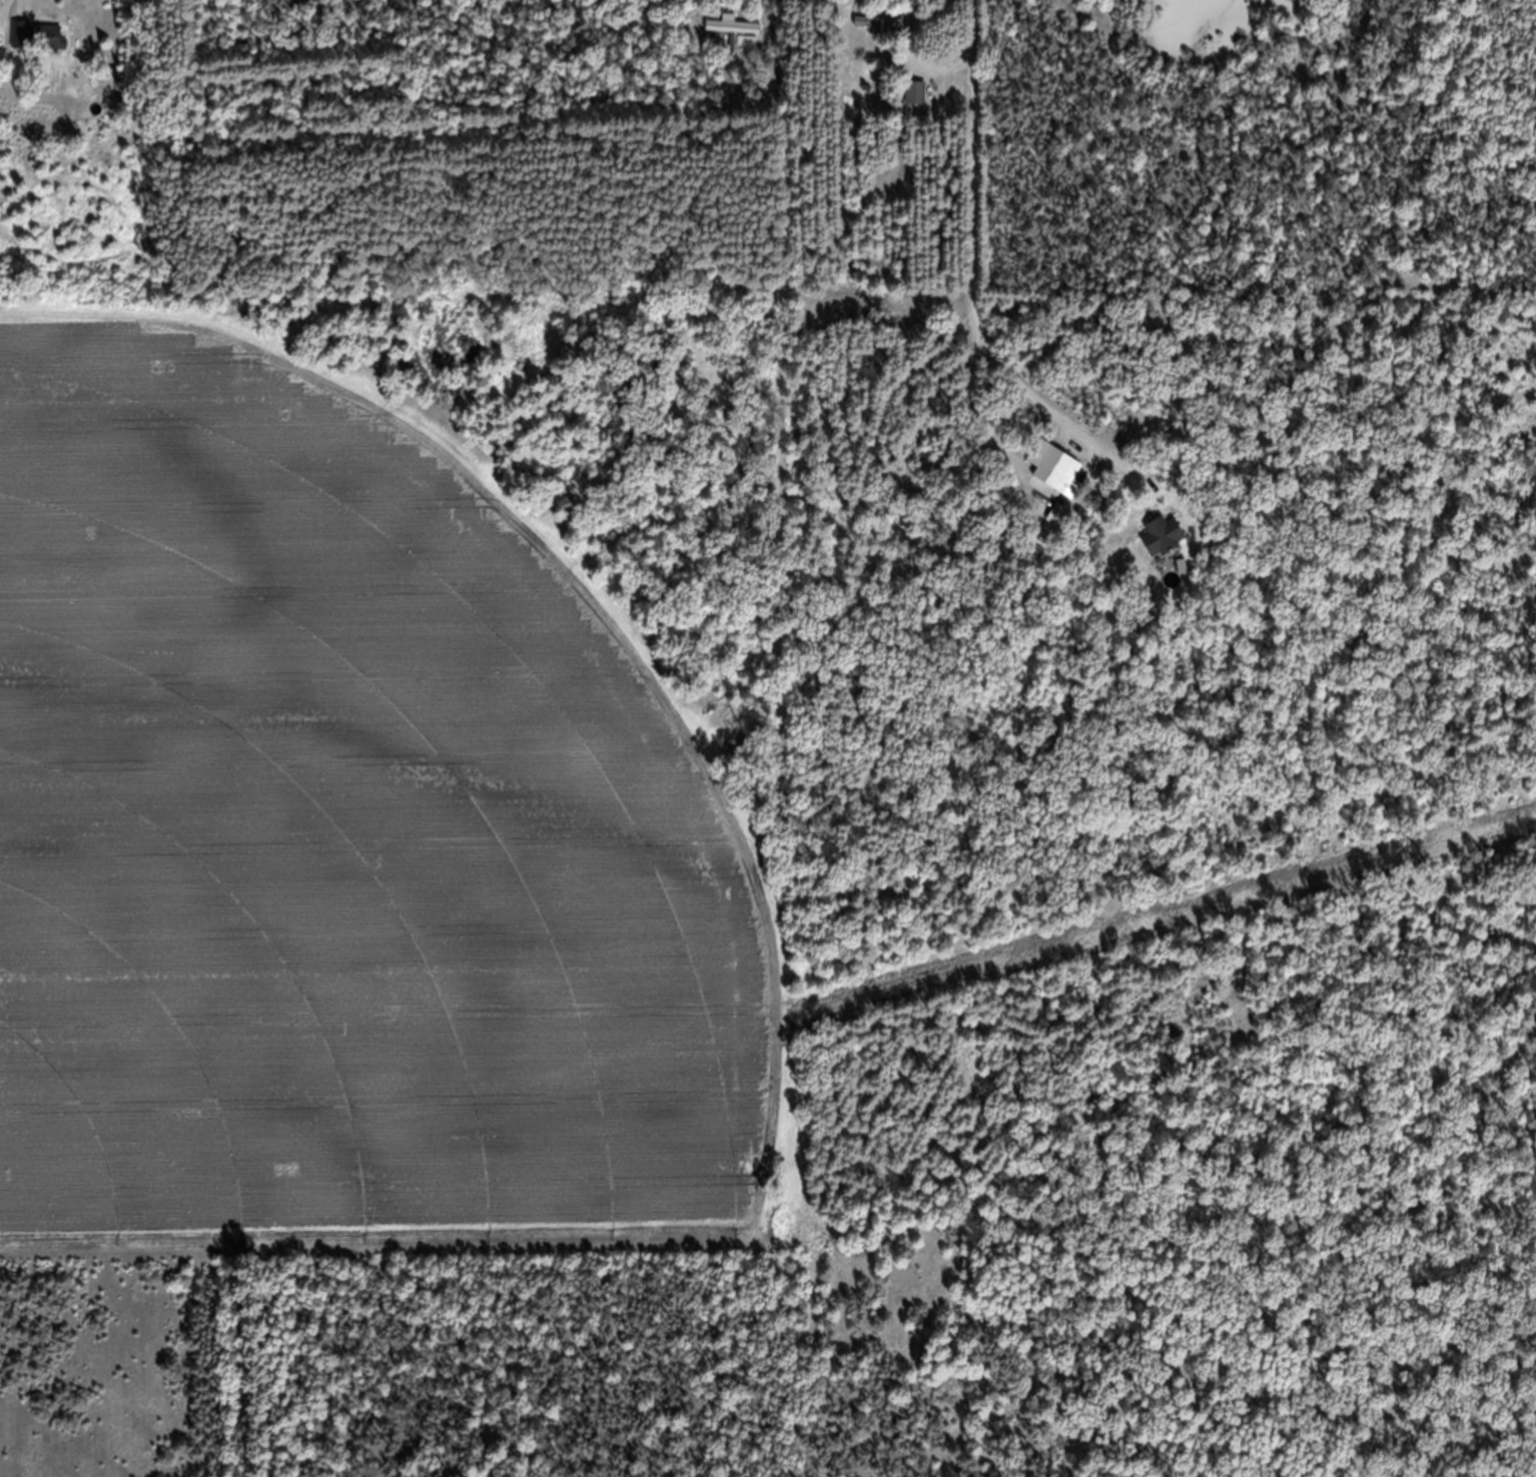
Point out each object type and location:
building: (700, 0)
road: (20, 1)
building: (881, 34)
building: (738, 43)
building: (39, 48)
building: (917, 106)
building: (1061, 484)
building: (1164, 548)

